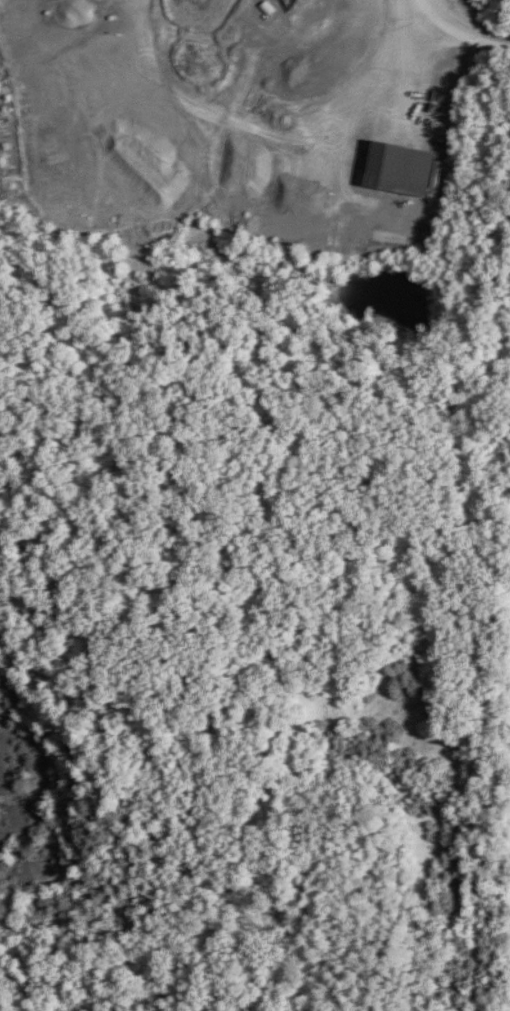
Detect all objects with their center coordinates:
road: (463, 37)
building: (398, 169)

